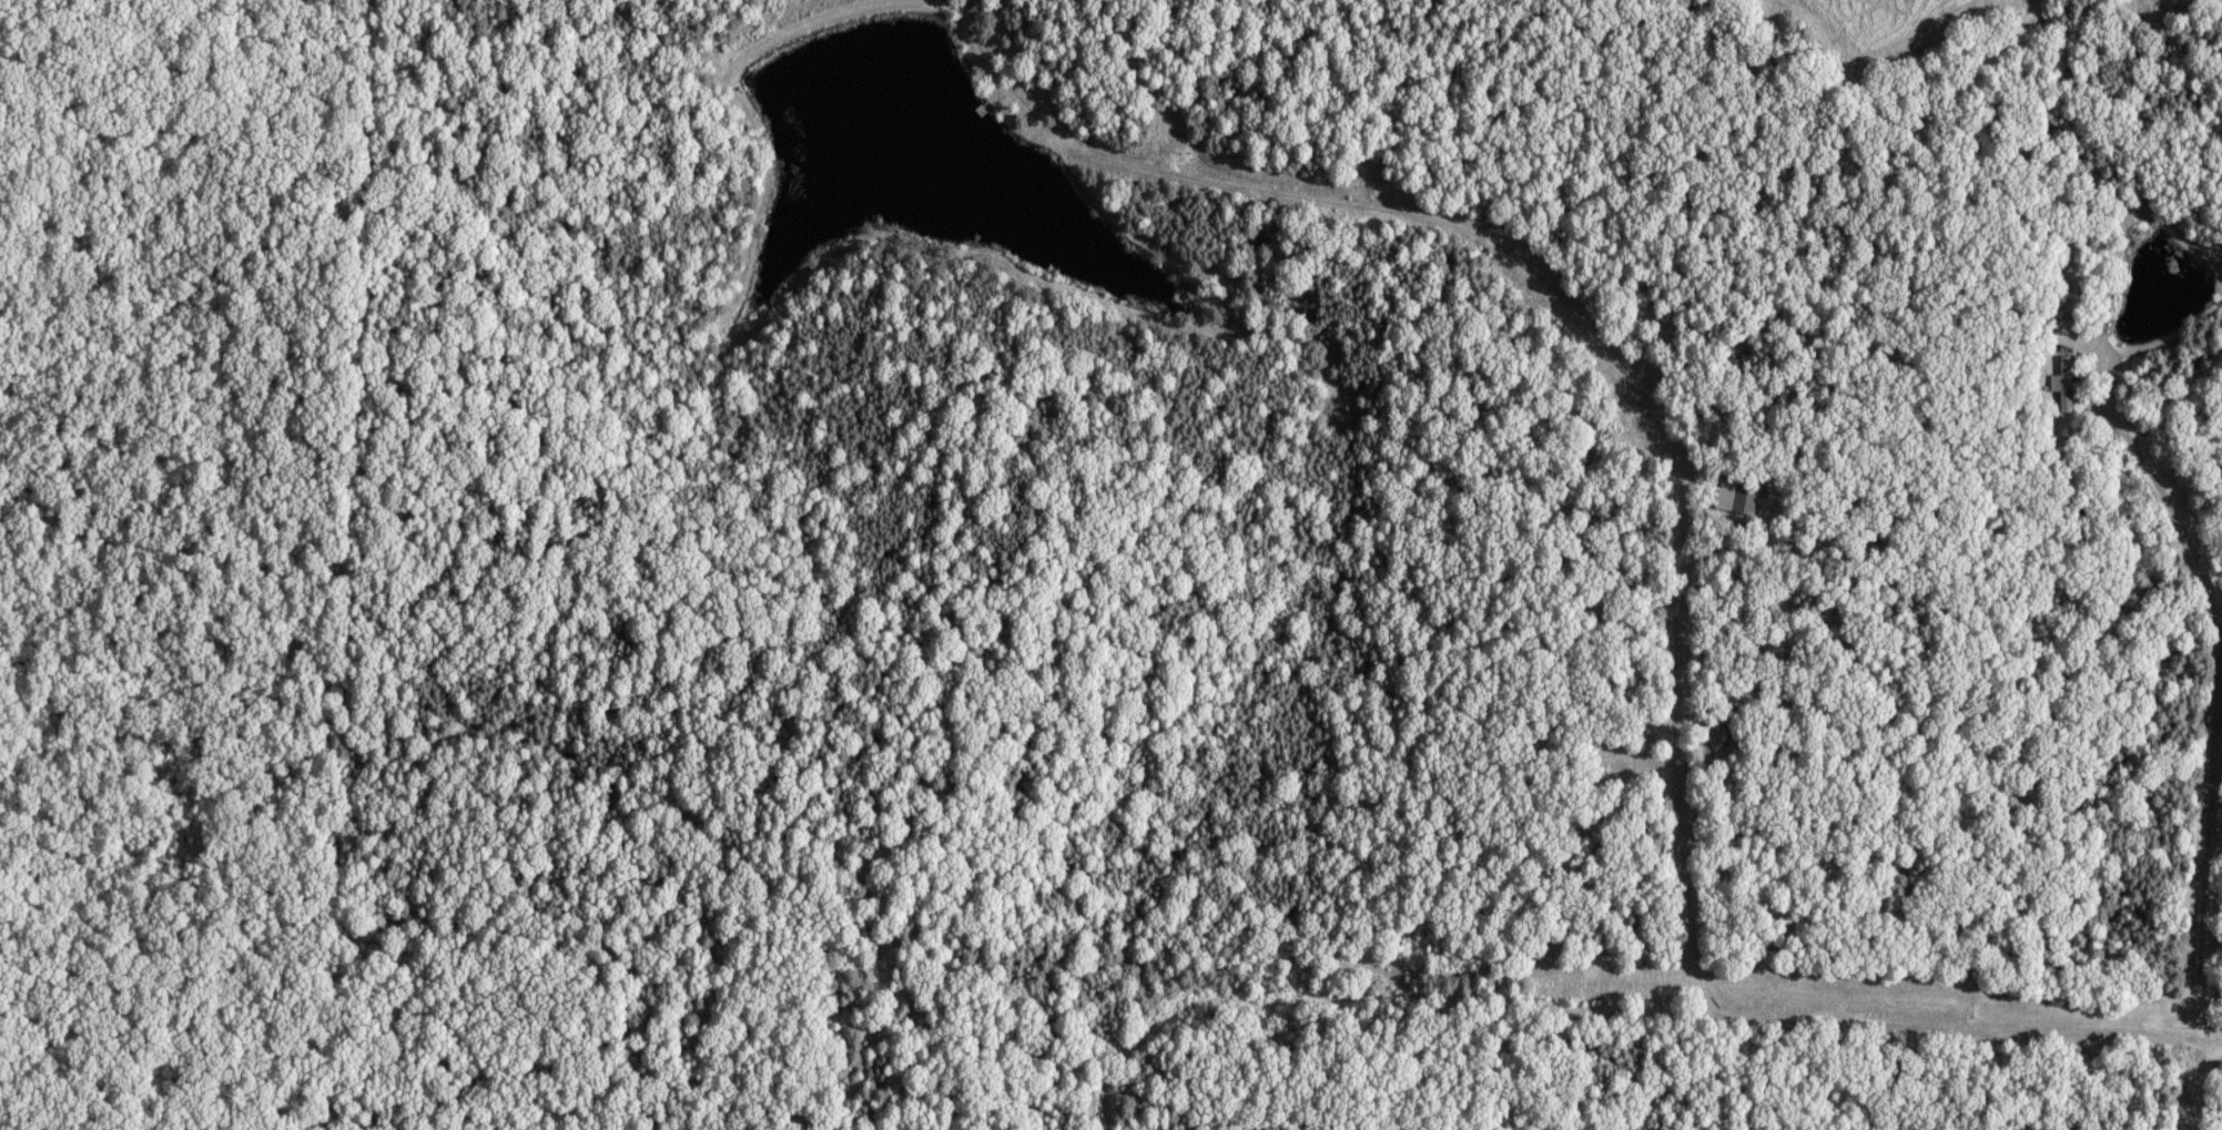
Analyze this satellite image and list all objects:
building: (2066, 333)
building: (2066, 384)
building: (1745, 497)
road: (2218, 673)
road: (2220, 1042)
road: (2202, 1085)

